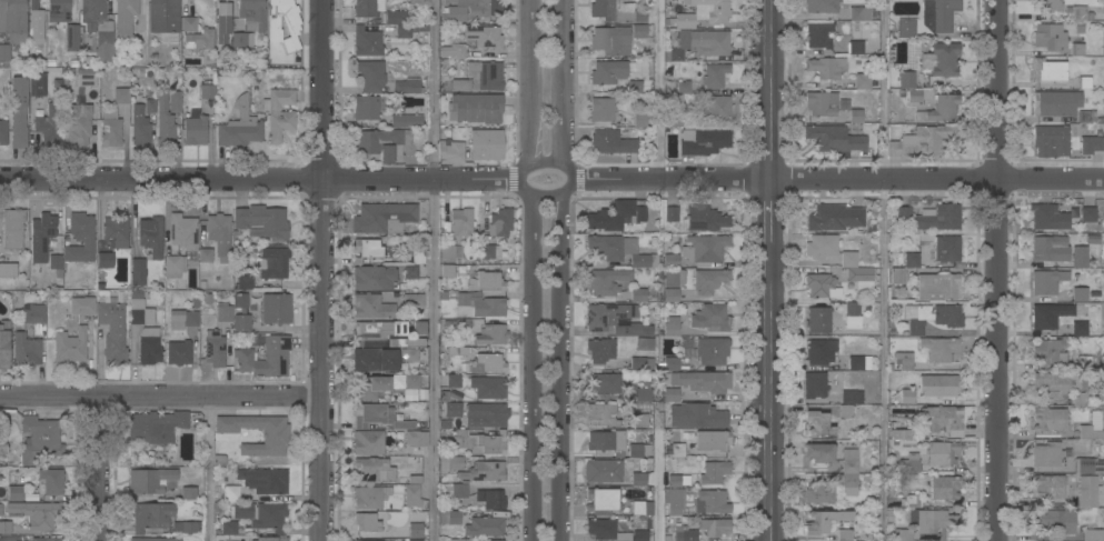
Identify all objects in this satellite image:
building: (415, 1)
building: (1050, 4)
building: (820, 6)
building: (479, 7)
building: (365, 8)
building: (60, 9)
building: (616, 11)
building: (92, 12)
building: (1080, 12)
building: (703, 13)
building: (858, 13)
building: (939, 13)
building: (251, 14)
building: (454, 14)
building: (125, 17)
building: (394, 17)
building: (165, 18)
building: (222, 21)
building: (36, 22)
building: (188, 23)
building: (291, 26)
building: (12, 27)
building: (906, 27)
building: (410, 30)
building: (639, 30)
building: (818, 34)
building: (1048, 36)
building: (72, 37)
building: (478, 37)
building: (199, 39)
building: (239, 39)
building: (610, 39)
building: (367, 41)
building: (709, 42)
building: (105, 46)
building: (855, 47)
building: (1076, 49)
building: (452, 50)
building: (676, 54)
road: (769, 58)
building: (941, 59)
building: (826, 67)
building: (1047, 70)
building: (608, 71)
building: (370, 74)
building: (487, 74)
building: (714, 74)
building: (906, 79)
building: (863, 81)
building: (37, 82)
building: (1084, 82)
building: (459, 84)
building: (407, 86)
building: (635, 86)
building: (683, 87)
road: (662, 90)
building: (207, 91)
building: (122, 96)
building: (914, 96)
building: (175, 101)
building: (820, 102)
building: (1055, 103)
building: (150, 106)
building: (366, 107)
building: (477, 107)
building: (718, 107)
building: (941, 108)
building: (601, 109)
building: (79, 110)
building: (18, 112)
building: (279, 112)
building: (855, 116)
building: (1086, 117)
building: (677, 119)
building: (405, 120)
building: (640, 120)
building: (165, 121)
building: (49, 123)
building: (140, 126)
building: (240, 126)
building: (110, 128)
building: (195, 128)
building: (2, 131)
building: (834, 138)
building: (923, 140)
building: (1051, 140)
building: (610, 141)
building: (704, 141)
building: (380, 143)
building: (485, 143)
building: (1091, 144)
road: (770, 148)
building: (450, 151)
road: (551, 181)
building: (668, 213)
building: (903, 214)
building: (1087, 214)
building: (616, 216)
building: (834, 217)
building: (938, 217)
building: (1045, 217)
building: (382, 218)
building: (704, 218)
road: (769, 220)
building: (261, 221)
building: (460, 221)
building: (499, 222)
building: (12, 228)
building: (183, 231)
building: (219, 232)
building: (41, 236)
building: (151, 237)
building: (80, 238)
building: (1092, 238)
building: (112, 240)
building: (606, 246)
building: (822, 246)
building: (368, 247)
building: (1047, 247)
building: (705, 248)
building: (947, 248)
building: (447, 251)
building: (489, 251)
building: (205, 254)
building: (418, 256)
building: (458, 256)
building: (1080, 256)
building: (911, 259)
building: (357, 260)
building: (639, 260)
building: (670, 260)
building: (272, 262)
building: (56, 264)
building: (175, 266)
building: (8, 270)
road: (325, 270)
road: (436, 270)
building: (447, 270)
road: (536, 270)
road: (558, 270)
road: (886, 270)
road: (999, 270)
building: (137, 271)
building: (856, 271)
building: (410, 272)
building: (896, 274)
building: (372, 277)
building: (673, 277)
building: (709, 280)
building: (486, 281)
building: (605, 281)
building: (245, 282)
building: (1043, 282)
building: (820, 285)
building: (937, 285)
building: (1080, 293)
building: (638, 294)
building: (670, 294)
building: (445, 295)
building: (415, 299)
building: (82, 304)
building: (477, 304)
building: (371, 305)
building: (276, 308)
building: (223, 311)
building: (140, 312)
building: (240, 312)
building: (33, 313)
building: (852, 314)
building: (1048, 315)
building: (710, 317)
building: (931, 317)
building: (182, 318)
building: (614, 319)
building: (818, 319)
building: (457, 323)
road: (1014, 324)
building: (670, 325)
building: (419, 327)
building: (1080, 329)
building: (112, 331)
building: (491, 334)
building: (4, 343)
building: (645, 343)
building: (26, 344)
building: (70, 344)
building: (382, 344)
building: (213, 348)
building: (938, 348)
building: (149, 349)
building: (458, 350)
building: (600, 350)
building: (712, 350)
building: (820, 350)
building: (1045, 351)
building: (178, 352)
building: (902, 354)
building: (265, 355)
building: (487, 362)
building: (676, 362)
building: (859, 362)
building: (641, 363)
building: (396, 381)
building: (411, 381)
building: (454, 381)
building: (703, 381)
building: (605, 382)
building: (1065, 383)
building: (938, 385)
building: (371, 387)
building: (487, 388)
building: (818, 389)
building: (643, 393)
building: (456, 394)
building: (669, 394)
road: (161, 395)
building: (444, 395)
building: (907, 395)
building: (848, 397)
road: (769, 401)
building: (452, 409)
building: (845, 411)
building: (486, 414)
building: (601, 414)
building: (378, 415)
building: (696, 415)
building: (1048, 418)
building: (943, 419)
building: (639, 420)
building: (817, 423)
building: (445, 424)
building: (156, 425)
building: (1090, 432)
building: (901, 433)
building: (276, 438)
building: (40, 439)
building: (607, 441)
building: (702, 441)
building: (371, 442)
building: (417, 442)
building: (484, 442)
building: (3, 449)
building: (635, 450)
building: (646, 450)
building: (819, 452)
building: (942, 452)
building: (1048, 453)
building: (450, 461)
building: (909, 463)
building: (1087, 465)
building: (377, 467)
road: (98, 468)
building: (849, 468)
road: (210, 469)
building: (484, 470)
building: (603, 470)
building: (714, 472)
building: (14, 477)
building: (638, 479)
building: (150, 480)
building: (263, 480)
building: (415, 480)
building: (677, 480)
building: (50, 481)
road: (662, 485)
building: (944, 487)
building: (1048, 487)
building: (459, 490)
building: (1087, 491)
building: (14, 492)
building: (188, 492)
building: (229, 492)
building: (817, 493)
building: (412, 494)
building: (370, 495)
building: (490, 498)
building: (603, 499)
building: (674, 500)
building: (712, 501)
building: (909, 501)
building: (641, 507)
building: (1, 509)
building: (37, 513)
building: (262, 514)
building: (449, 517)
building: (160, 519)
building: (824, 520)
building: (1056, 520)
building: (366, 521)
building: (932, 521)
building: (484, 525)
building: (715, 525)
building: (4, 527)
building: (229, 528)
building: (604, 529)
building: (415, 530)
building: (688, 533)
building: (844, 534)
building: (905, 534)
building: (1093, 534)
building: (639, 535)
building: (47, 539)
building: (155, 539)
building: (271, 539)
building: (415, 539)
building: (368, 540)
building: (460, 540)
building: (497, 540)

